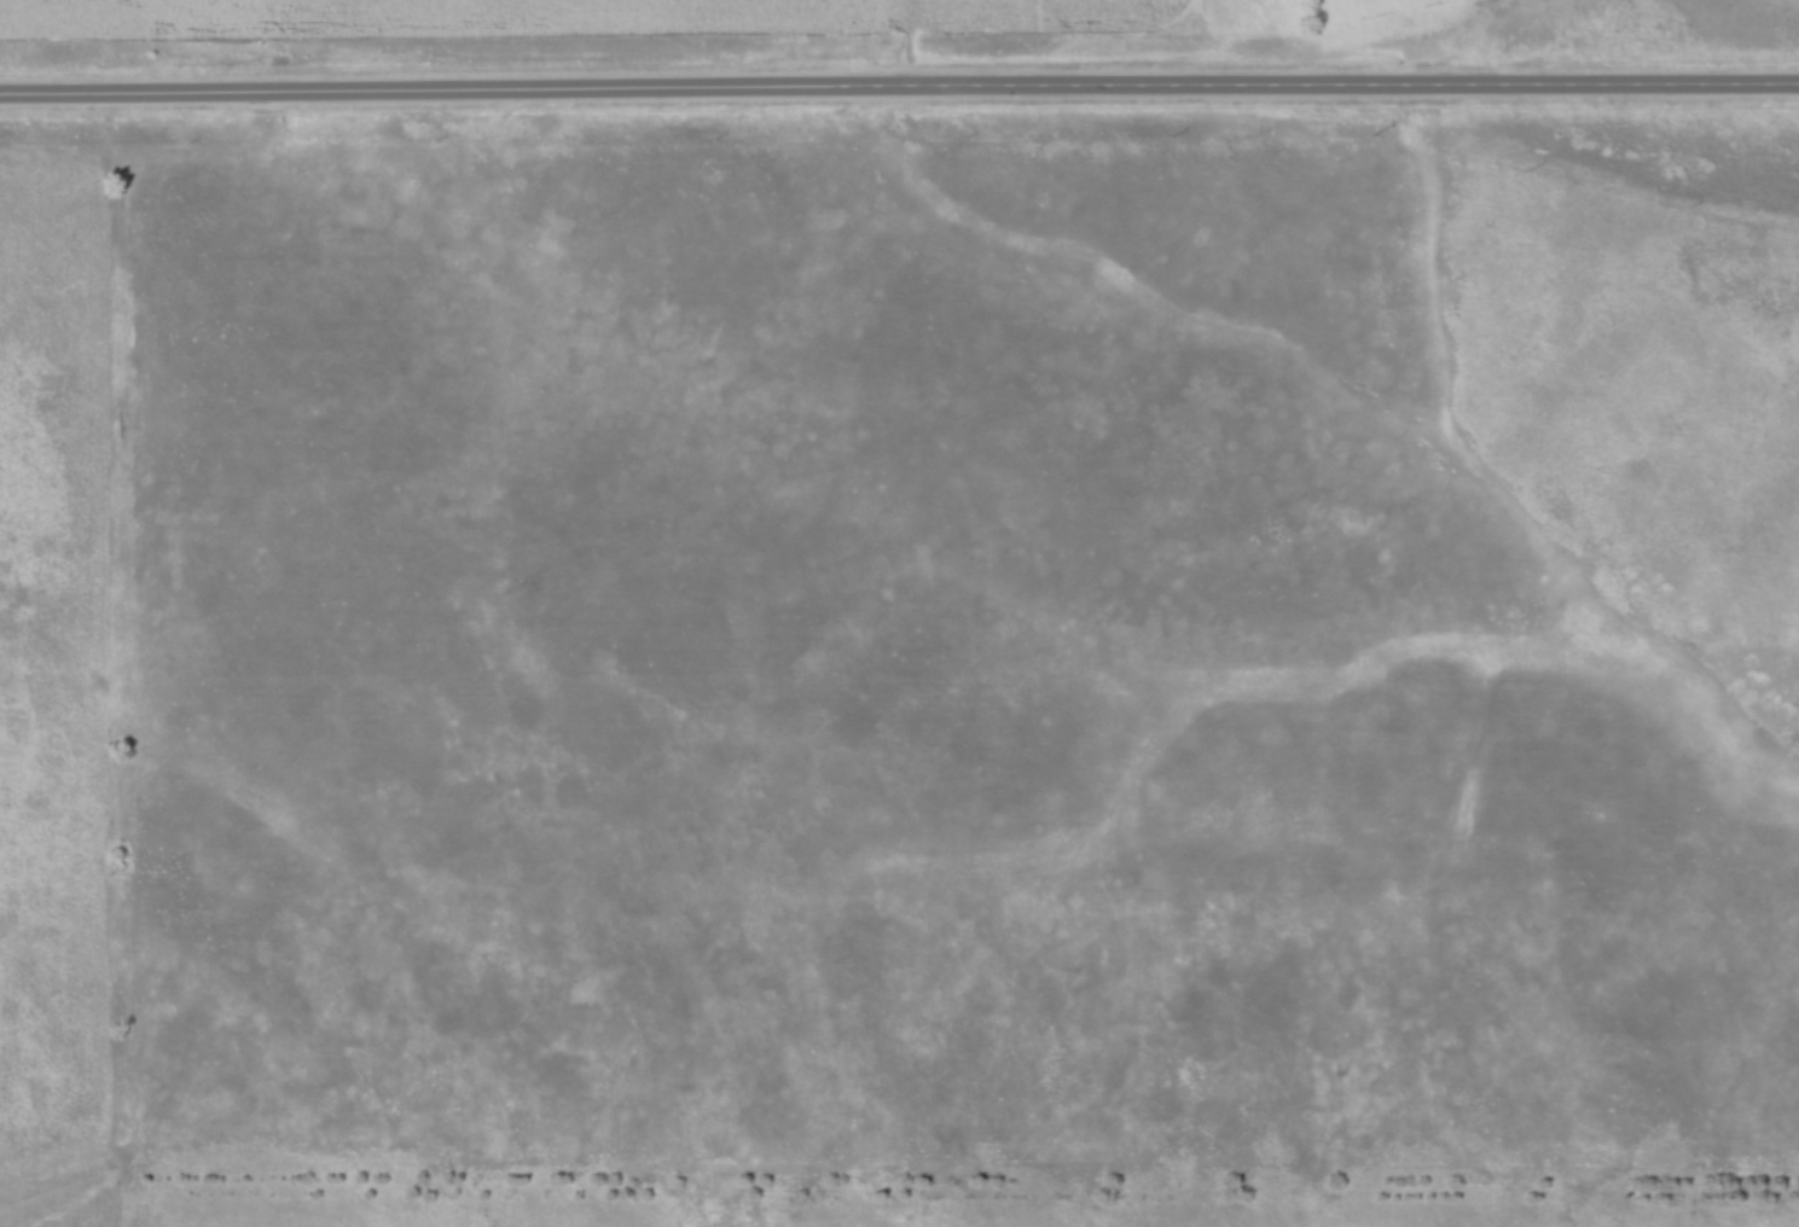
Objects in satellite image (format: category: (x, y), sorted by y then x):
crop: (128, 18)
road: (899, 94)

